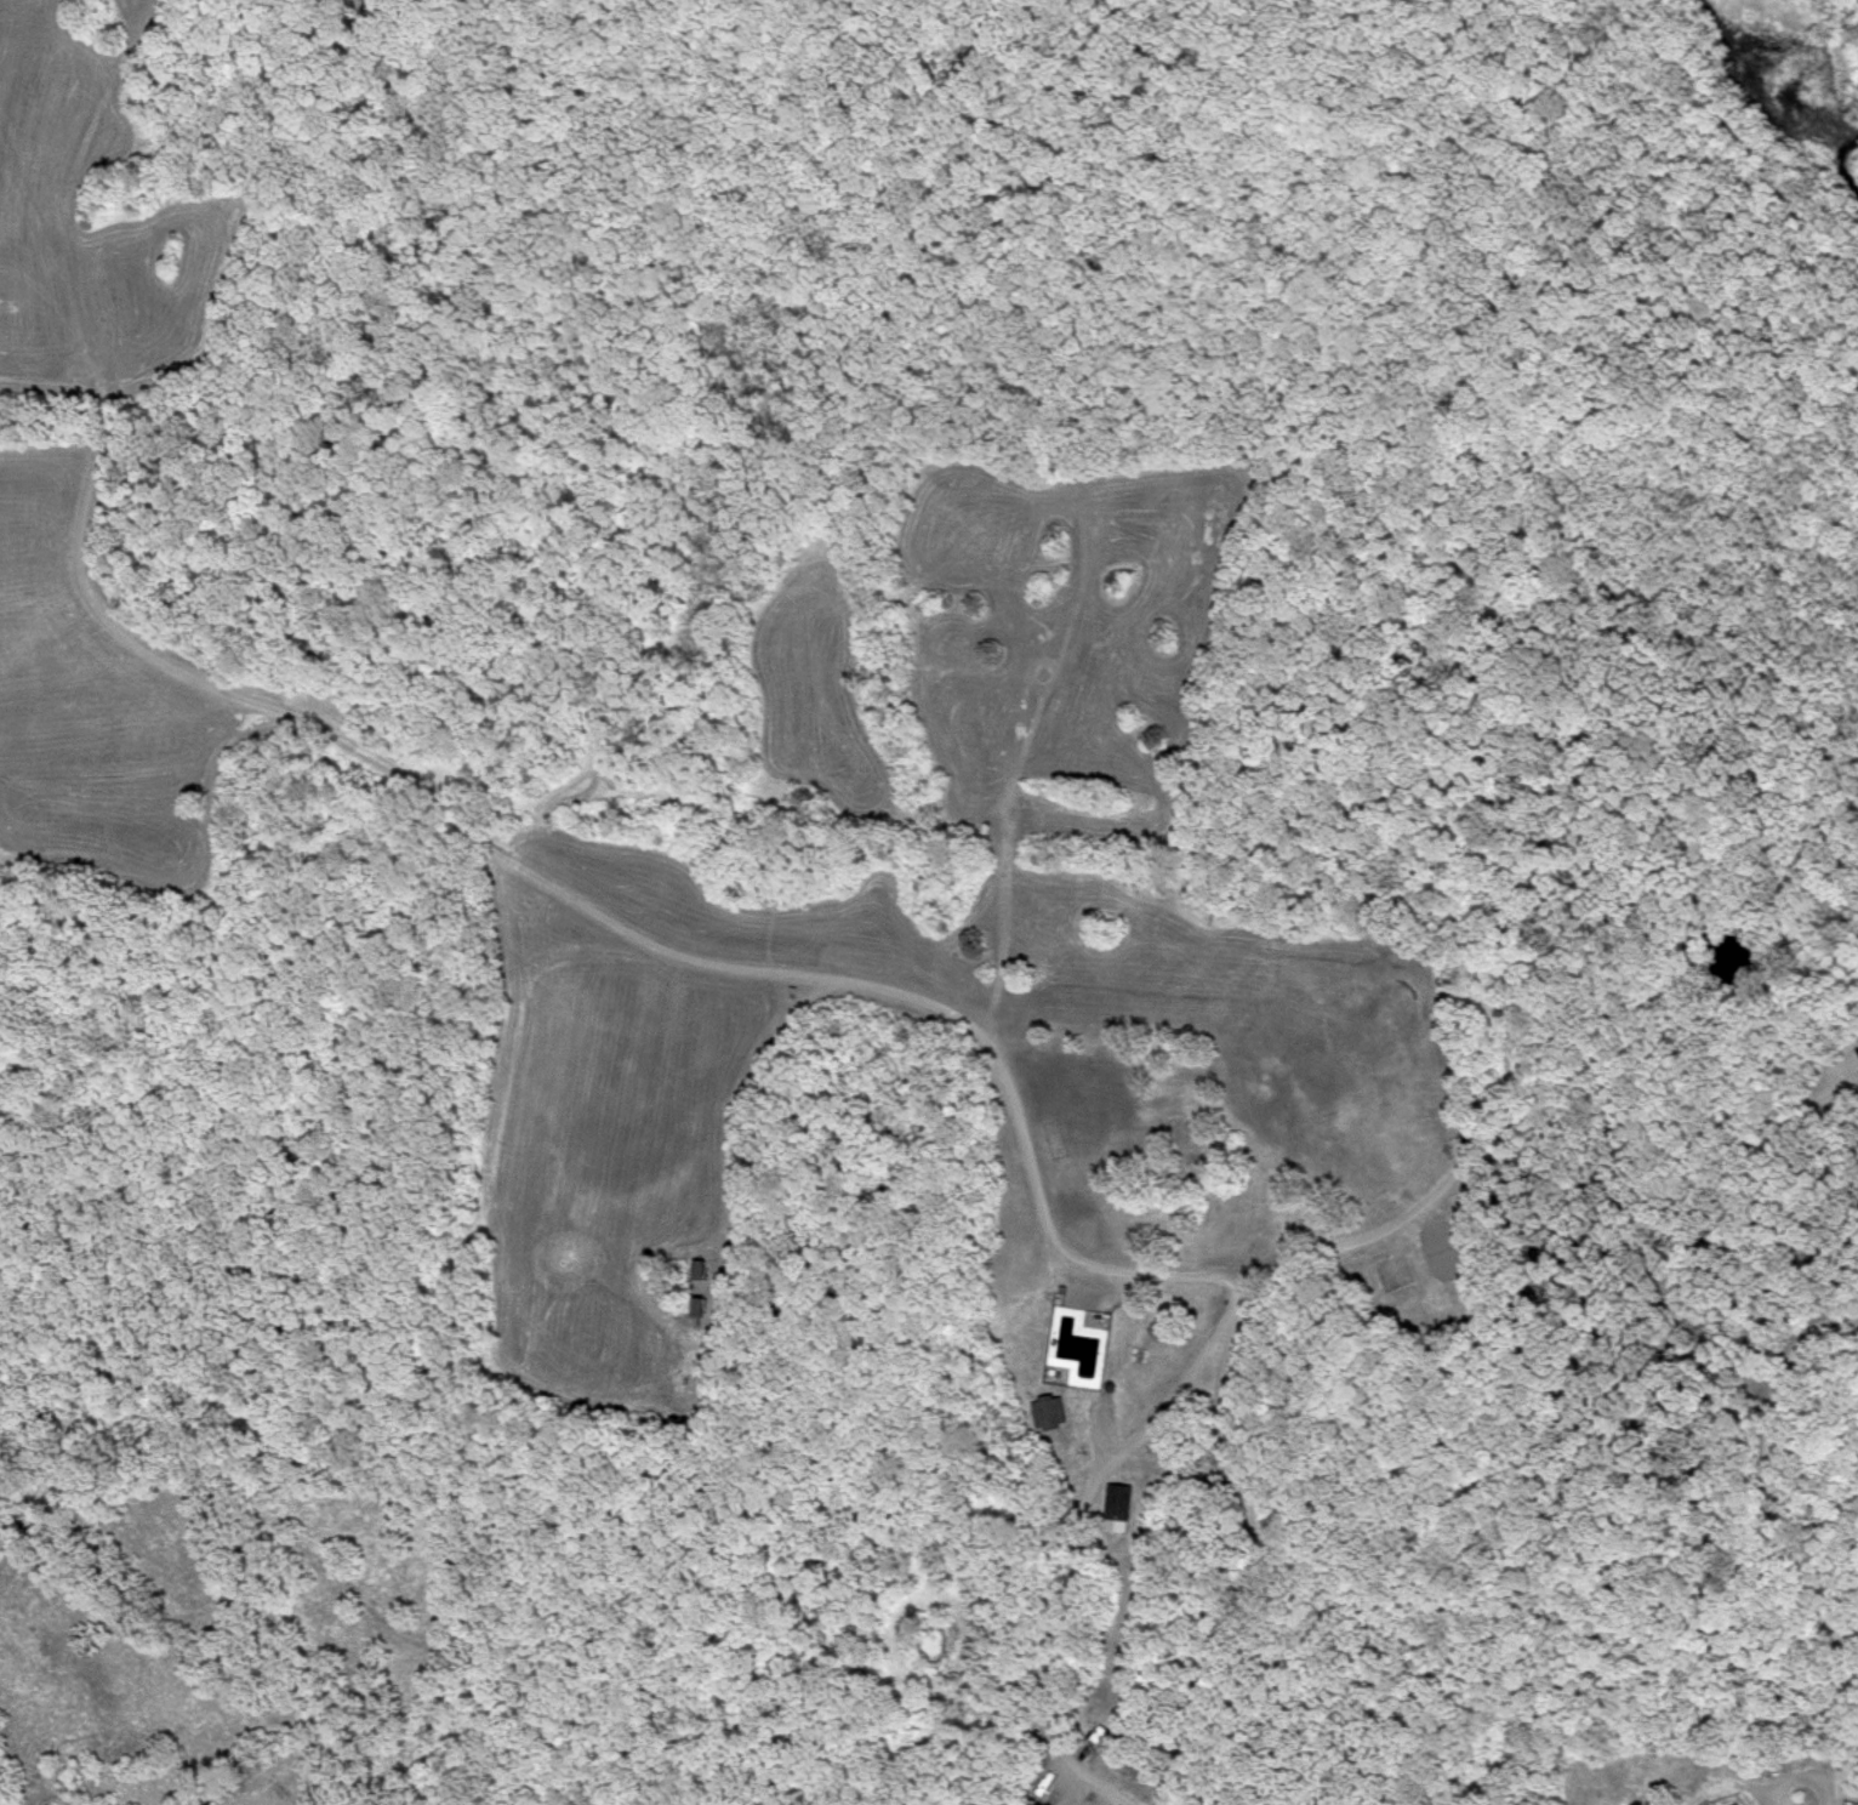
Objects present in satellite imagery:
road: (146, 353)
road: (371, 756)
road: (175, 847)
road: (1538, 1124)
road: (1064, 1257)
building: (1391, 1274)
building: (696, 1309)
building: (1075, 1349)
building: (1049, 1414)
road: (1772, 1448)
building: (1117, 1508)
road: (1797, 1781)
building: (1736, 1804)

